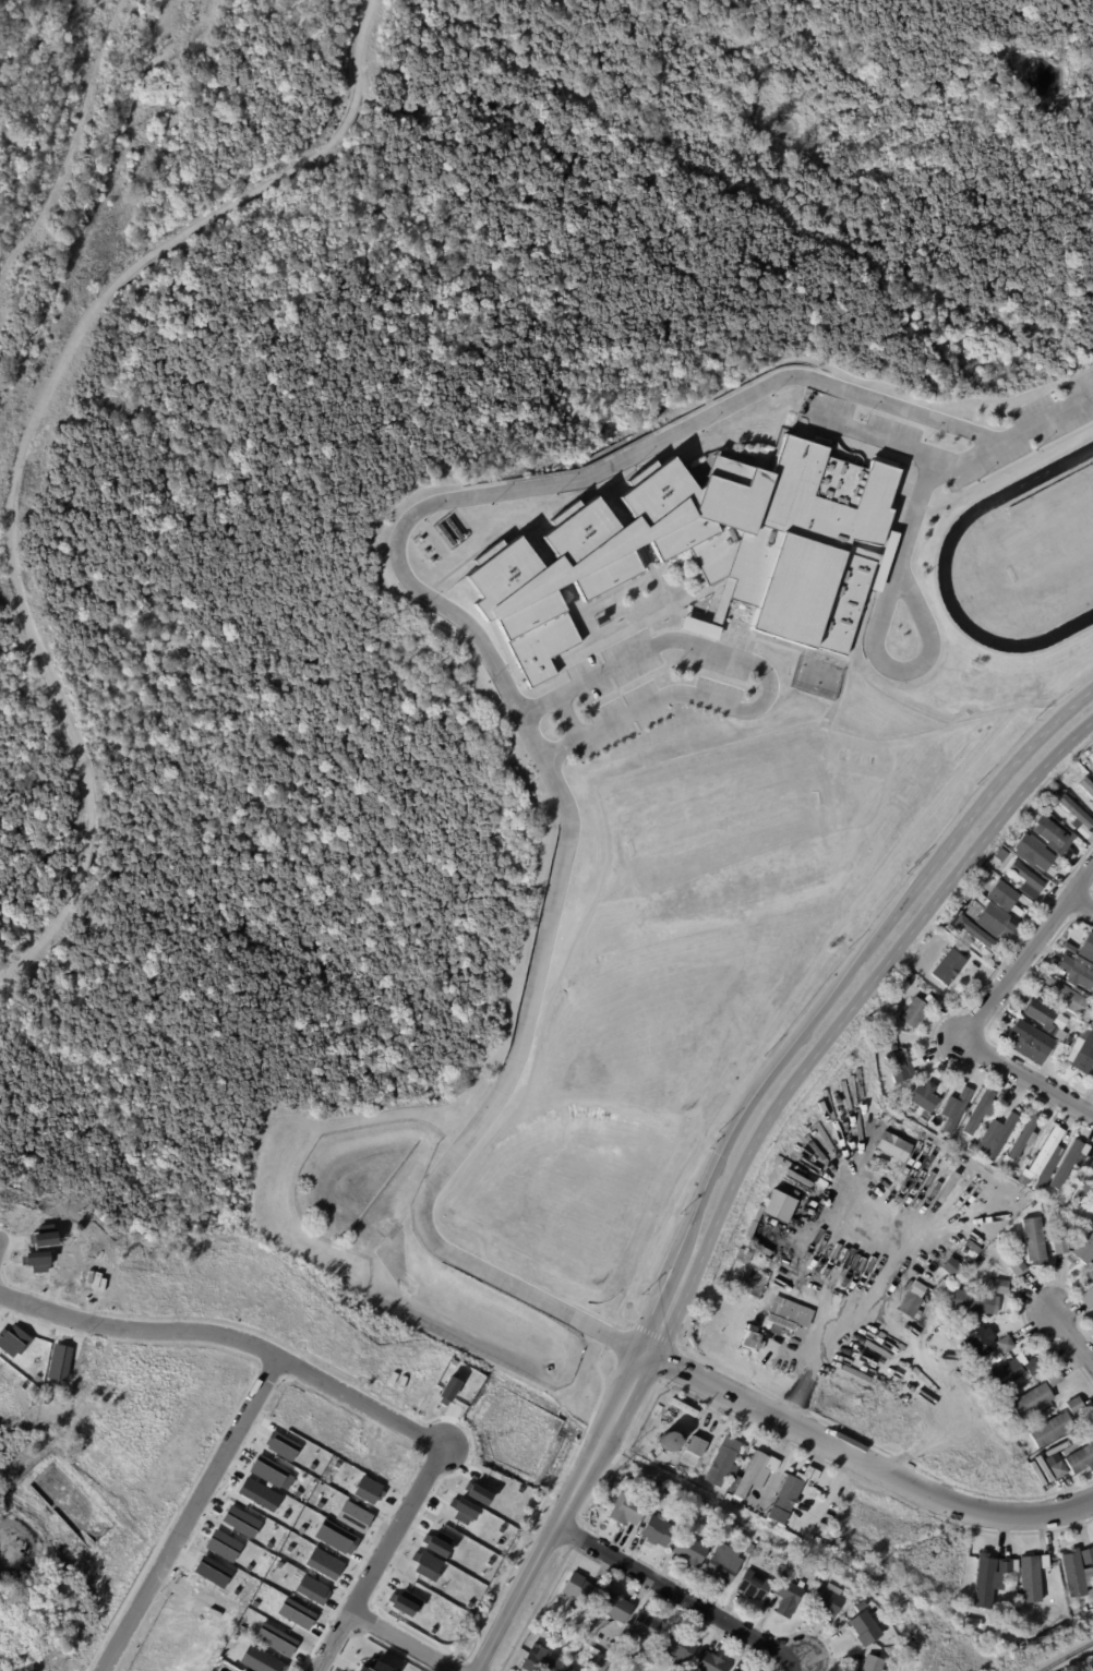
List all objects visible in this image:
parking lot: (858, 418)
parking lot: (1037, 429)
road: (25, 434)
building: (816, 441)
road: (909, 452)
track: (946, 548)
building: (706, 549)
road: (875, 634)
road: (479, 640)
road: (766, 676)
parking lot: (653, 681)
road: (569, 718)
building: (1089, 765)
building: (1068, 772)
building: (1086, 786)
building: (1053, 790)
building: (1077, 817)
building: (1054, 835)
building: (1035, 853)
building: (1026, 877)
building: (977, 883)
building: (1005, 894)
road: (1082, 899)
building: (963, 900)
building: (1018, 911)
building: (994, 917)
building: (959, 936)
building: (980, 936)
building: (1080, 943)
building: (986, 953)
building: (948, 967)
building: (1079, 974)
building: (932, 999)
building: (1067, 1000)
road: (981, 1007)
building: (1036, 1010)
building: (1090, 1010)
building: (914, 1012)
building: (1082, 1020)
building: (1067, 1023)
building: (1053, 1032)
building: (1034, 1038)
building: (1085, 1043)
building: (1014, 1046)
building: (917, 1061)
building: (1074, 1063)
building: (899, 1067)
building: (941, 1087)
building: (924, 1097)
building: (957, 1106)
building: (977, 1111)
building: (1043, 1126)
building: (998, 1134)
building: (1023, 1139)
building: (970, 1146)
building: (1044, 1152)
road: (733, 1154)
building: (890, 1162)
building: (1069, 1162)
building: (1002, 1163)
building: (1083, 1183)
building: (773, 1215)
road: (4, 1239)
building: (1034, 1240)
building: (1061, 1247)
building: (969, 1249)
building: (1085, 1249)
building: (1092, 1262)
building: (977, 1263)
building: (1019, 1267)
building: (1092, 1272)
building: (1092, 1277)
building: (1001, 1286)
building: (1086, 1294)
building: (911, 1298)
building: (971, 1301)
building: (780, 1317)
road: (854, 1318)
road: (232, 1337)
road: (1073, 1338)
building: (982, 1342)
building: (1006, 1344)
building: (1014, 1372)
building: (1054, 1378)
building: (1033, 1400)
building: (1076, 1405)
building: (1052, 1430)
building: (668, 1441)
building: (280, 1445)
building: (700, 1447)
building: (1081, 1459)
road: (861, 1462)
building: (728, 1463)
building: (772, 1464)
building: (267, 1470)
building: (1059, 1470)
building: (748, 1475)
building: (810, 1476)
building: (711, 1481)
building: (652, 1482)
building: (752, 1500)
building: (785, 1501)
road: (195, 1510)
building: (627, 1510)
building: (352, 1516)
building: (240, 1520)
building: (796, 1529)
building: (658, 1531)
building: (221, 1546)
road: (385, 1552)
building: (692, 1552)
building: (747, 1553)
building: (1088, 1556)
building: (780, 1558)
building: (742, 1562)
building: (1045, 1562)
building: (323, 1563)
building: (1006, 1566)
building: (722, 1568)
building: (826, 1574)
building: (1076, 1574)
building: (1030, 1579)
building: (984, 1582)
building: (754, 1586)
building: (311, 1589)
building: (579, 1589)
road: (686, 1596)
building: (788, 1597)
building: (827, 1601)
building: (615, 1608)
building: (295, 1613)
building: (839, 1618)
building: (972, 1623)
building: (647, 1624)
building: (544, 1626)
building: (866, 1628)
building: (274, 1638)
road: (407, 1638)
building: (611, 1647)
building: (680, 1648)
railway: (1066, 1655)
building: (537, 1659)
building: (260, 1661)
building: (708, 1662)
building: (874, 1663)
building: (603, 1666)
building: (635, 1666)
building: (372, 1668)
building: (569, 1670)
building: (734, 1670)
building: (851, 1670)

